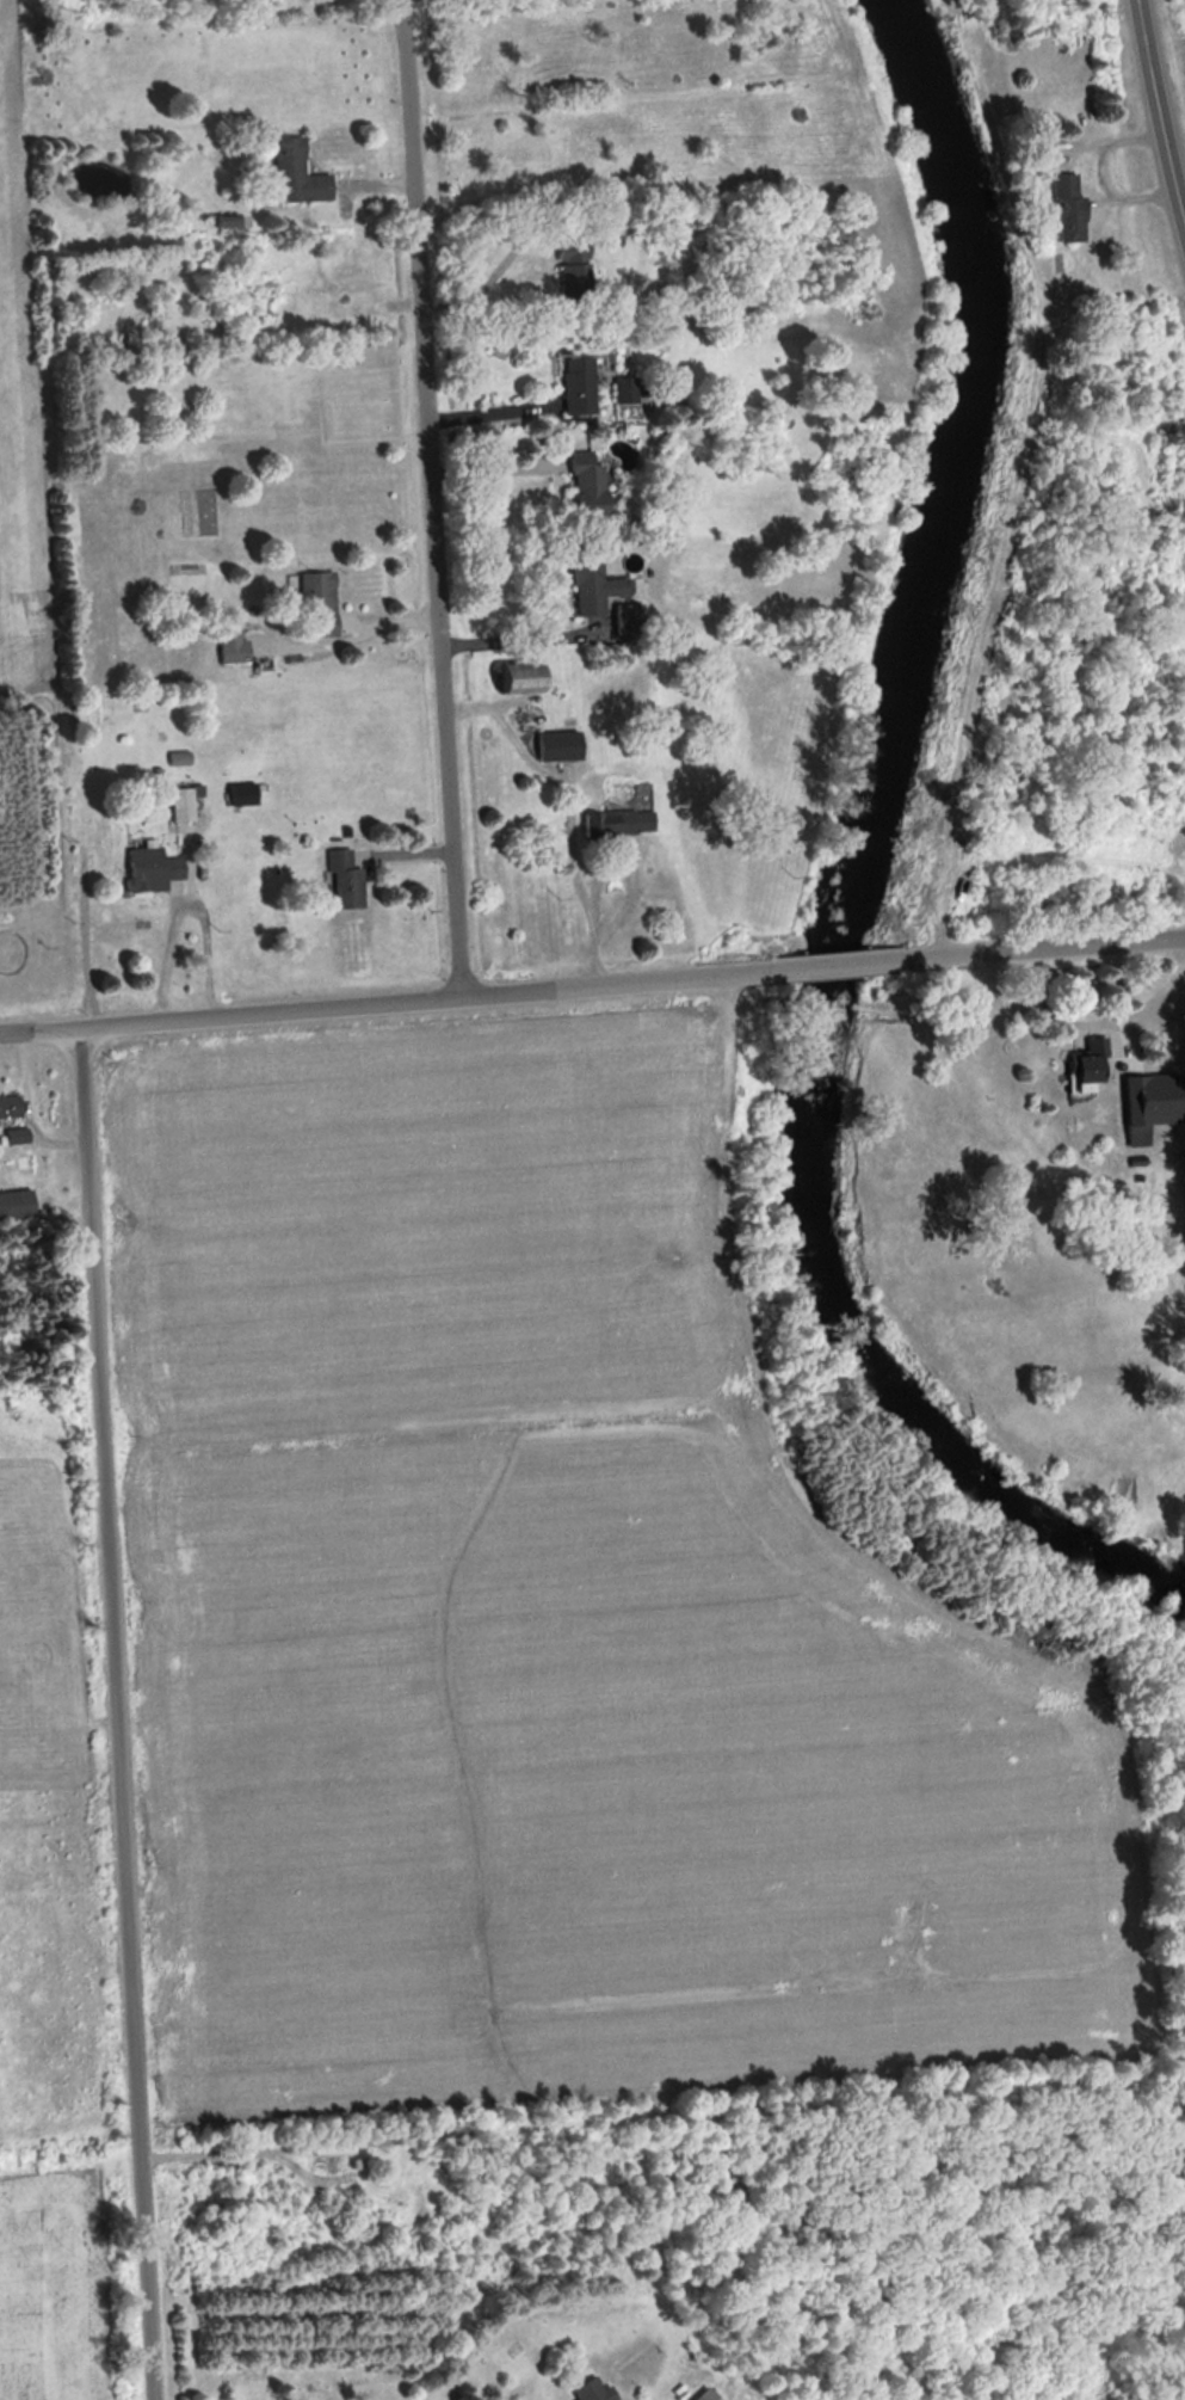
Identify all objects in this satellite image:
road: (1159, 117)
building: (302, 174)
building: (1069, 208)
building: (581, 273)
building: (584, 387)
building: (629, 392)
building: (594, 487)
road: (427, 500)
building: (599, 587)
building: (323, 607)
building: (635, 620)
building: (239, 652)
building: (533, 679)
building: (564, 747)
building: (245, 795)
building: (187, 805)
building: (624, 824)
building: (155, 870)
building: (351, 882)
river: (845, 887)
road: (1031, 950)
road: (822, 967)
road: (394, 1005)
road: (11, 1030)
building: (1093, 1067)
building: (12, 1108)
building: (1146, 1112)
building: (19, 1206)
road: (115, 1712)
building: (597, 2390)
building: (712, 2395)

